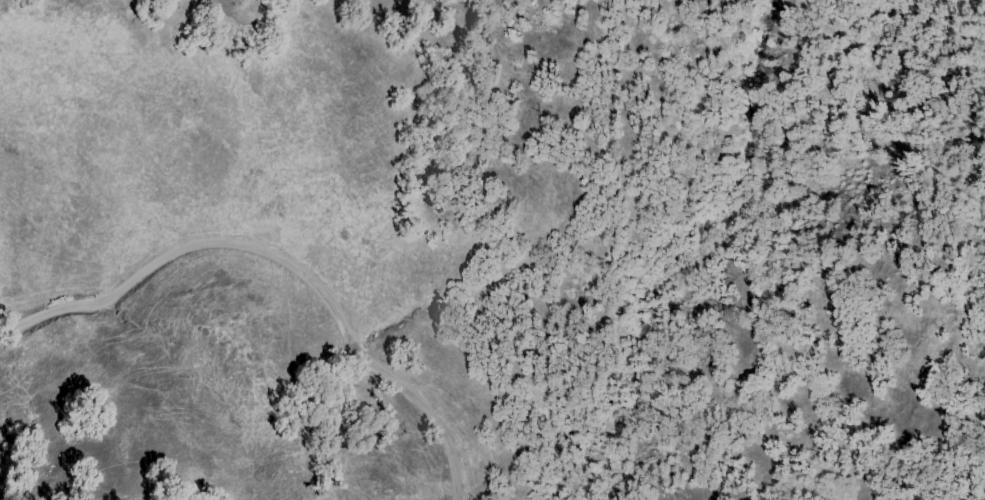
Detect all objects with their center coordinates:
road: (281, 261)

